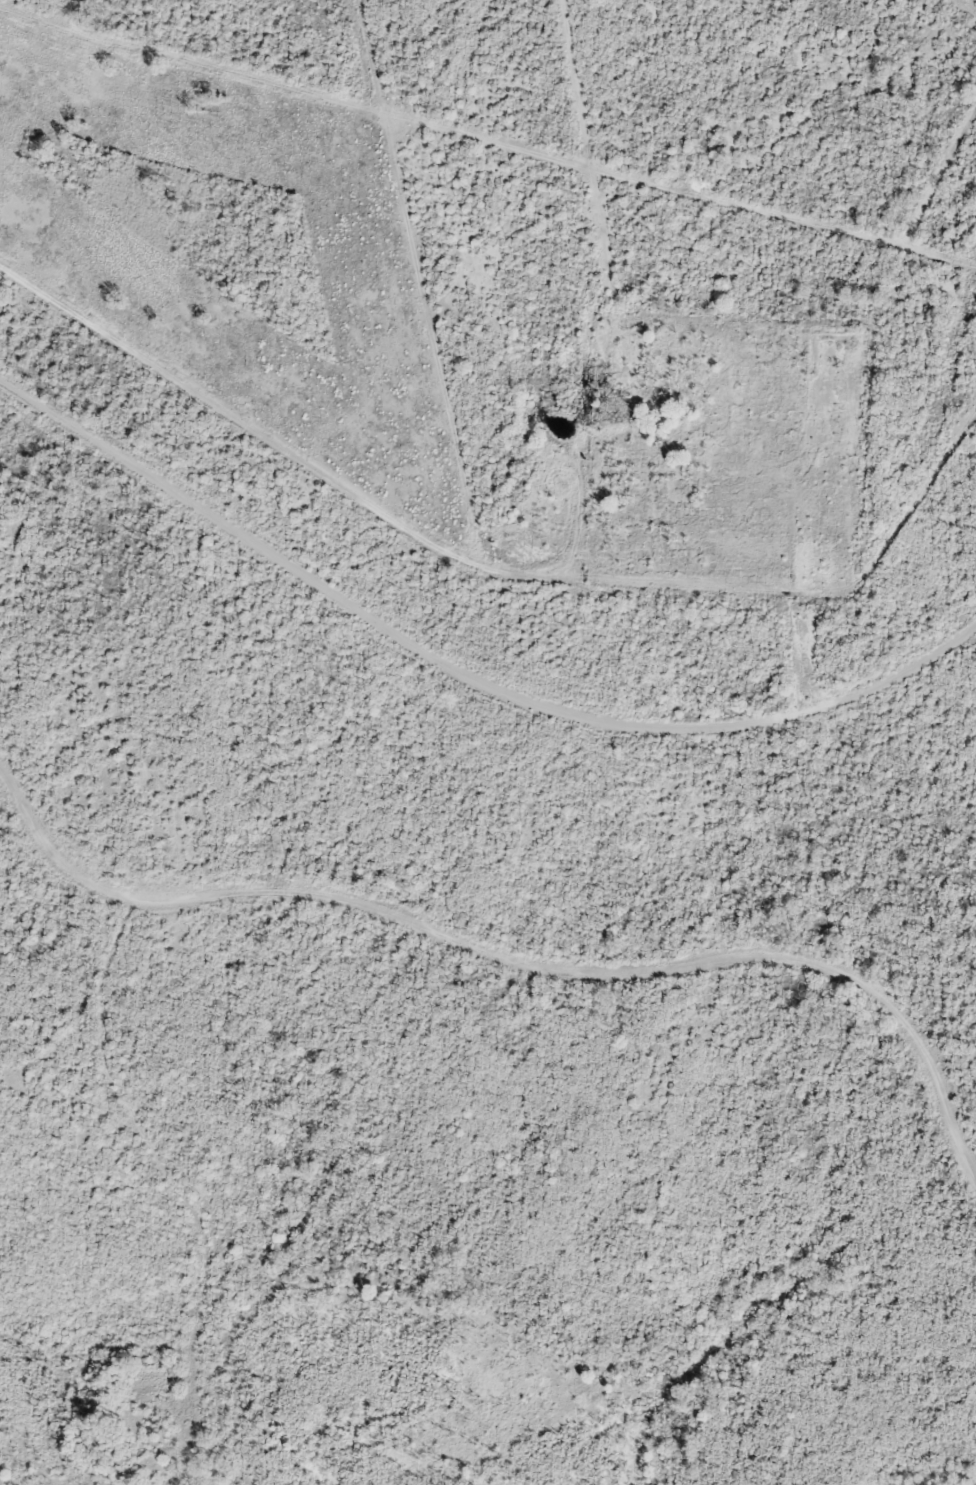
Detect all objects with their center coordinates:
road: (464, 655)
road: (518, 961)

